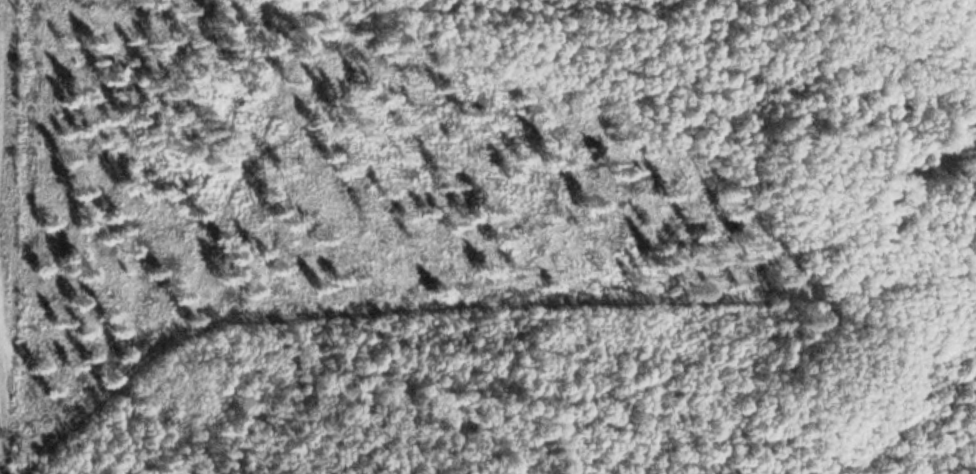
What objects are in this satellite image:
road: (472, 307)

